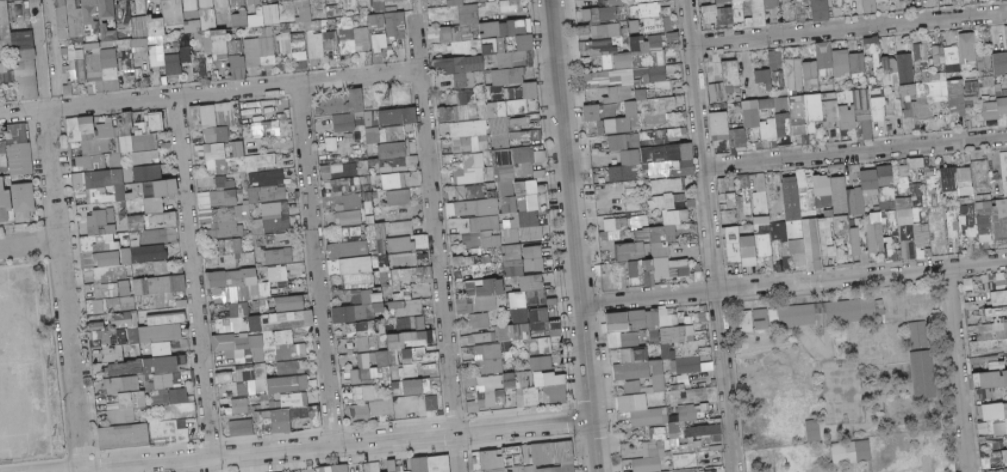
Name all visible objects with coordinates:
building: (283, 0)
building: (376, 0)
building: (827, 0)
building: (880, 0)
building: (228, 1)
building: (260, 1)
building: (268, 1)
building: (275, 1)
building: (350, 1)
building: (385, 1)
building: (480, 1)
building: (490, 1)
building: (628, 1)
building: (634, 1)
building: (719, 1)
building: (815, 1)
building: (951, 1)
building: (971, 1)
building: (60, 2)
building: (236, 2)
building: (252, 2)
building: (300, 2)
building: (456, 2)
building: (612, 2)
building: (711, 2)
building: (827, 2)
building: (221, 3)
building: (263, 3)
road: (414, 3)
building: (434, 3)
building: (734, 3)
building: (745, 3)
building: (801, 3)
building: (835, 3)
building: (204, 4)
building: (718, 4)
building: (726, 4)
building: (768, 4)
building: (157, 5)
building: (189, 5)
building: (525, 5)
building: (507, 6)
building: (867, 6)
building: (237, 7)
building: (378, 7)
building: (734, 7)
building: (786, 7)
building: (24, 9)
building: (149, 9)
building: (389, 9)
building: (648, 9)
building: (818, 9)
building: (96, 10)
building: (198, 10)
building: (257, 10)
building: (9, 11)
building: (330, 11)
building: (354, 11)
building: (663, 11)
building: (88, 12)
building: (172, 12)
building: (338, 12)
building: (619, 12)
building: (633, 12)
building: (756, 12)
building: (606, 13)
building: (707, 13)
building: (798, 13)
building: (806, 13)
building: (190, 14)
building: (269, 14)
building: (302, 14)
building: (321, 14)
building: (467, 14)
building: (526, 14)
building: (588, 14)
building: (593, 14)
building: (722, 15)
building: (788, 16)
building: (344, 17)
building: (502, 17)
building: (122, 18)
building: (61, 19)
building: (74, 19)
building: (207, 19)
building: (255, 19)
building: (99, 20)
building: (238, 20)
building: (619, 20)
building: (332, 21)
building: (350, 21)
building: (374, 21)
building: (252, 23)
building: (584, 23)
building: (108, 24)
building: (393, 24)
building: (666, 24)
building: (322, 25)
building: (94, 26)
building: (191, 26)
building: (276, 26)
building: (526, 26)
building: (632, 26)
building: (649, 26)
building: (155, 27)
building: (514, 27)
building: (468, 28)
building: (624, 28)
building: (3, 29)
building: (4, 29)
building: (284, 29)
building: (378, 29)
building: (488, 29)
building: (501, 29)
building: (582, 30)
building: (612, 30)
building: (600, 31)
building: (621, 31)
building: (217, 32)
building: (264, 32)
building: (592, 32)
building: (454, 33)
building: (90, 34)
building: (444, 34)
building: (475, 34)
building: (150, 35)
building: (127, 36)
building: (434, 37)
building: (466, 37)
building: (523, 37)
building: (202, 38)
building: (322, 39)
building: (504, 39)
building: (20, 40)
building: (153, 40)
building: (345, 40)
building: (360, 40)
building: (474, 40)
building: (510, 40)
building: (515, 40)
building: (138, 42)
building: (185, 42)
building: (377, 42)
building: (492, 42)
building: (106, 44)
building: (122, 44)
building: (217, 44)
building: (282, 44)
building: (90, 45)
building: (292, 45)
building: (315, 45)
building: (465, 45)
building: (873, 45)
building: (265, 46)
building: (456, 46)
building: (250, 47)
building: (299, 47)
building: (387, 47)
building: (604, 47)
building: (233, 48)
building: (475, 48)
building: (967, 48)
building: (170, 49)
building: (207, 49)
building: (448, 49)
building: (155, 50)
building: (63, 51)
building: (89, 51)
building: (138, 51)
building: (362, 53)
building: (379, 53)
road: (39, 54)
building: (124, 54)
building: (22, 55)
building: (826, 55)
building: (184, 56)
building: (200, 56)
building: (276, 56)
building: (219, 57)
building: (108, 58)
building: (200, 59)
building: (208, 59)
building: (266, 59)
building: (776, 59)
building: (891, 59)
building: (155, 60)
building: (255, 61)
building: (248, 62)
building: (849, 62)
building: (1000, 63)
building: (124, 64)
building: (171, 64)
building: (75, 65)
building: (93, 65)
building: (8, 66)
building: (207, 66)
building: (239, 66)
building: (301, 66)
building: (231, 67)
building: (906, 68)
building: (64, 69)
building: (200, 69)
building: (462, 69)
building: (161, 70)
building: (125, 72)
building: (137, 72)
building: (150, 72)
building: (732, 72)
building: (109, 73)
building: (794, 74)
building: (811, 75)
building: (6, 76)
building: (765, 77)
building: (24, 79)
building: (778, 79)
building: (159, 80)
building: (88, 81)
building: (10, 83)
building: (937, 85)
building: (909, 90)
building: (717, 93)
building: (614, 94)
building: (972, 94)
building: (957, 96)
building: (656, 107)
building: (879, 109)
building: (997, 110)
building: (832, 113)
building: (400, 116)
building: (594, 117)
building: (778, 119)
building: (219, 120)
building: (346, 120)
building: (157, 122)
building: (721, 123)
building: (126, 133)
building: (91, 134)
building: (469, 136)
building: (741, 138)
building: (635, 140)
building: (619, 142)
building: (239, 149)
building: (395, 149)
building: (20, 151)
building: (218, 157)
building: (147, 158)
building: (413, 160)
building: (669, 160)
building: (917, 162)
building: (627, 167)
building: (472, 169)
building: (345, 170)
building: (838, 170)
building: (268, 175)
road: (567, 177)
building: (904, 177)
building: (965, 177)
building: (416, 178)
building: (107, 179)
building: (949, 179)
building: (394, 180)
building: (668, 185)
building: (824, 185)
building: (870, 186)
building: (937, 187)
building: (225, 192)
building: (729, 192)
building: (841, 194)
building: (256, 195)
building: (25, 197)
building: (399, 197)
building: (5, 200)
building: (988, 201)
building: (905, 211)
building: (277, 217)
building: (968, 217)
building: (349, 218)
building: (225, 220)
building: (640, 221)
building: (484, 223)
building: (154, 224)
building: (616, 224)
building: (762, 225)
building: (403, 228)
building: (803, 230)
building: (876, 232)
building: (103, 233)
road: (708, 235)
road: (436, 239)
building: (491, 239)
building: (923, 241)
building: (858, 242)
building: (404, 244)
building: (663, 244)
building: (743, 245)
building: (232, 249)
building: (349, 249)
building: (632, 251)
building: (893, 251)
building: (279, 256)
building: (425, 258)
building: (534, 258)
building: (407, 260)
building: (476, 266)
building: (161, 267)
building: (112, 273)
building: (282, 273)
building: (524, 273)
building: (235, 285)
building: (266, 290)
building: (360, 291)
building: (491, 294)
building: (141, 298)
building: (291, 303)
building: (98, 307)
building: (408, 307)
building: (851, 310)
building: (794, 316)
building: (701, 317)
building: (167, 319)
building: (648, 319)
building: (762, 319)
building: (265, 320)
building: (480, 320)
building: (673, 320)
building: (747, 320)
building: (620, 321)
building: (413, 323)
building: (545, 323)
building: (528, 326)
building: (370, 333)
building: (920, 333)
building: (654, 335)
building: (483, 337)
building: (167, 339)
building: (630, 339)
building: (672, 340)
building: (108, 342)
building: (242, 346)
building: (291, 351)
building: (392, 357)
building: (369, 359)
building: (489, 359)
building: (977, 360)
building: (543, 363)
building: (687, 366)
building: (149, 367)
park: (21, 368)
building: (291, 368)
building: (641, 368)
building: (411, 370)
building: (924, 374)
building: (226, 377)
building: (990, 379)
building: (268, 380)
building: (168, 381)
building: (418, 386)
building: (547, 387)
building: (492, 390)
building: (180, 395)
building: (161, 397)
building: (126, 399)
building: (432, 403)
building: (240, 405)
building: (698, 405)
building: (383, 407)
building: (642, 410)
building: (996, 412)
building: (359, 413)
building: (316, 417)
building: (283, 421)
building: (242, 428)
building: (984, 428)
building: (1001, 428)
building: (172, 430)
building: (814, 431)
building: (707, 434)
building: (125, 436)
building: (694, 447)
building: (860, 451)
building: (650, 457)
building: (533, 458)
building: (680, 461)
building: (432, 464)
building: (393, 465)
building: (375, 467)
building: (342, 468)
building: (406, 470)
building: (686, 470)
building: (716, 471)

